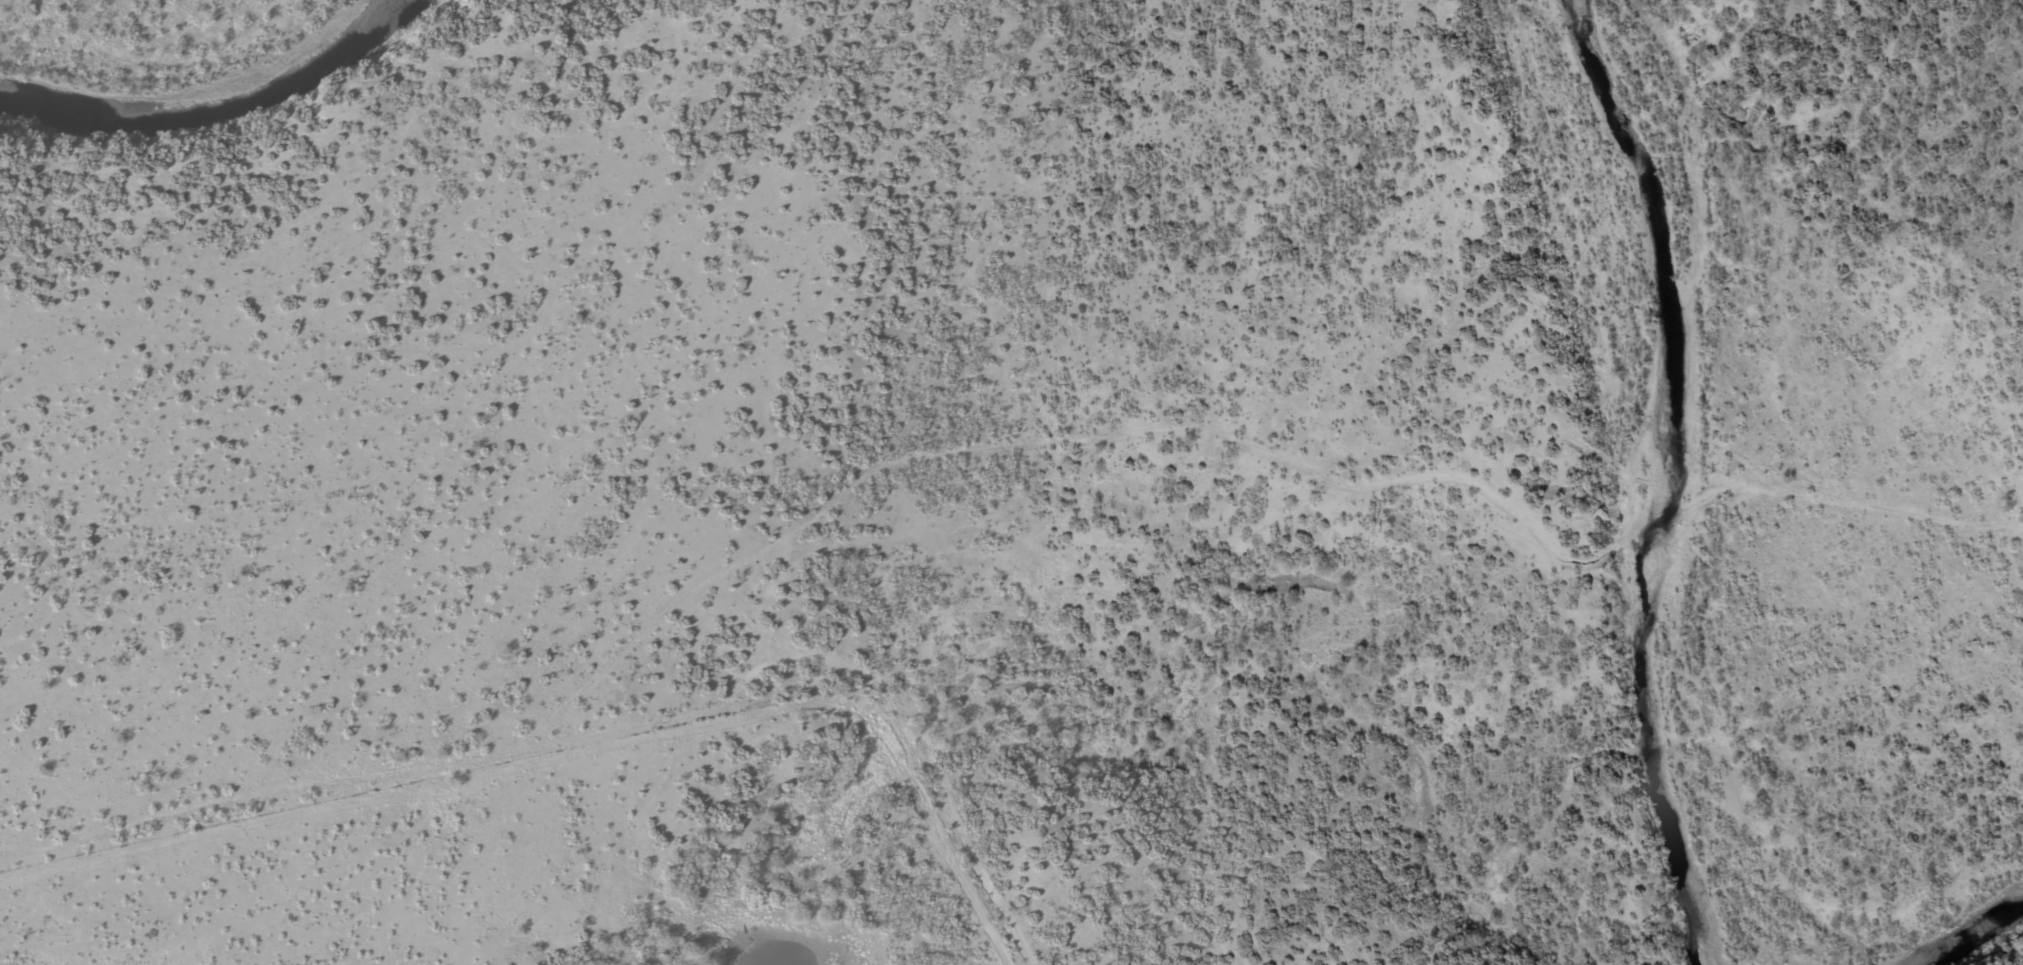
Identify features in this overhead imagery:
river: (212, 104)
river: (1656, 479)
river: (1968, 934)

